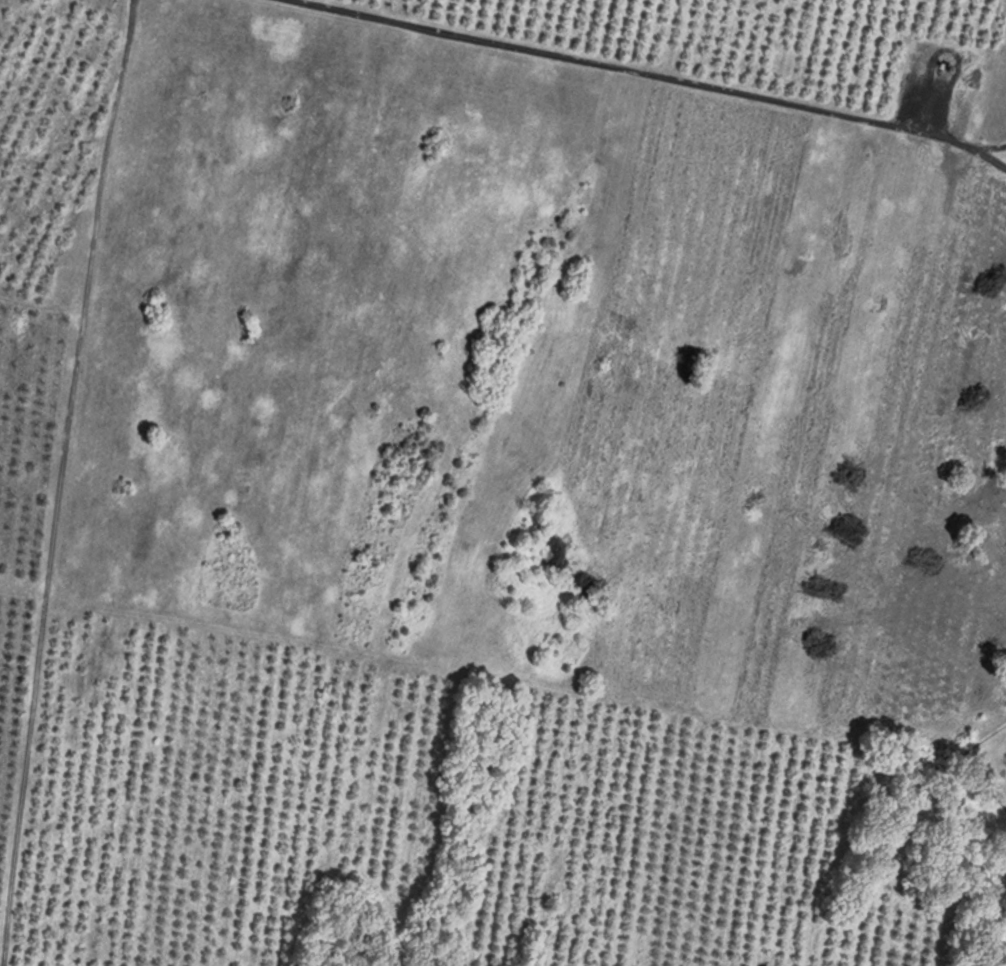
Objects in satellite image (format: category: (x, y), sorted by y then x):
road: (648, 73)
road: (983, 146)
road: (59, 473)

